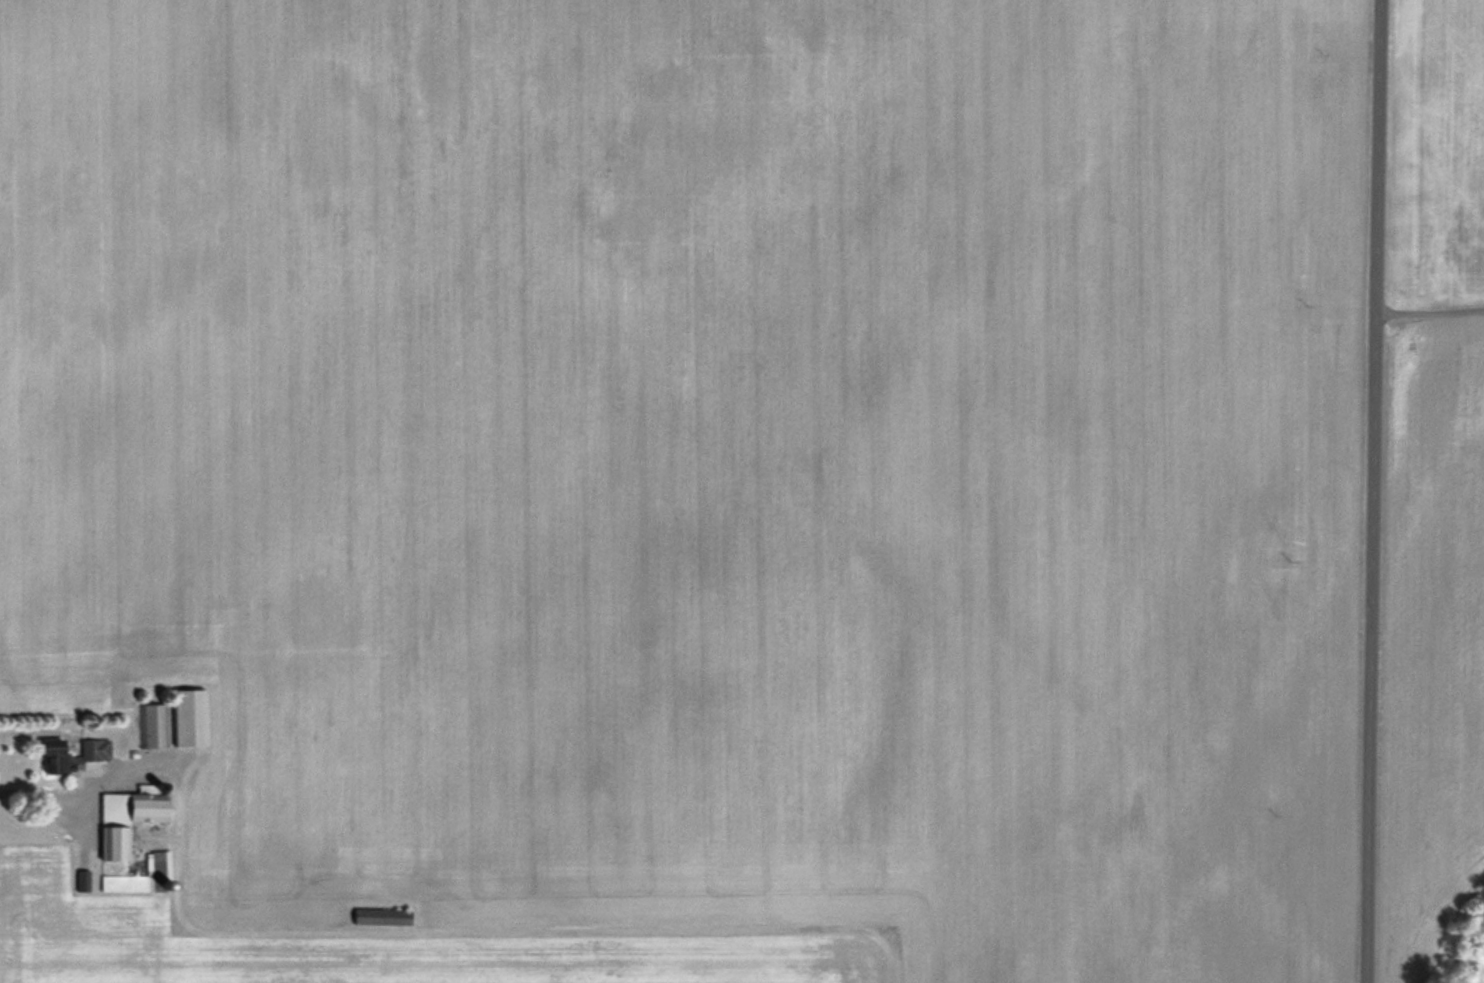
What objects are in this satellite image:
road: (1374, 491)
building: (190, 717)
building: (154, 725)
building: (72, 754)
building: (128, 817)
building: (82, 880)
building: (126, 882)
building: (382, 915)

